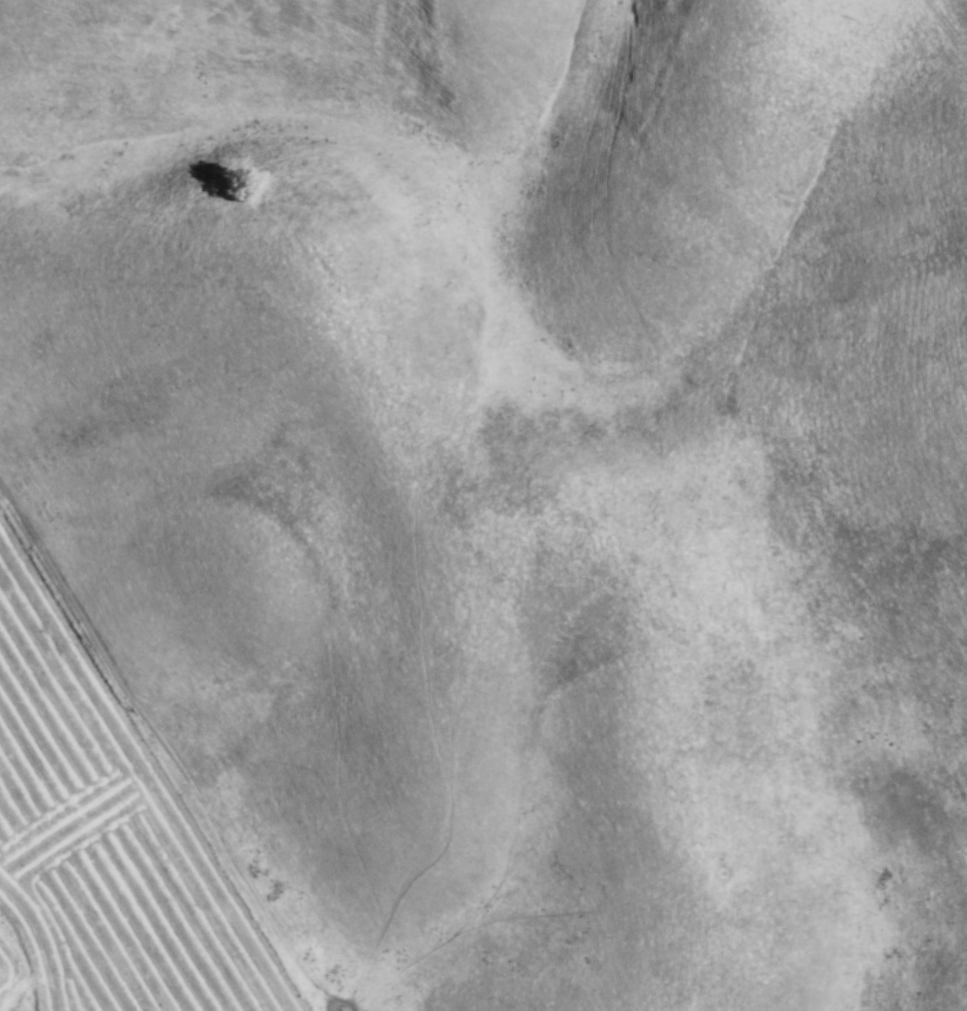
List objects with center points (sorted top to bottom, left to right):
crop: (93, 845)

